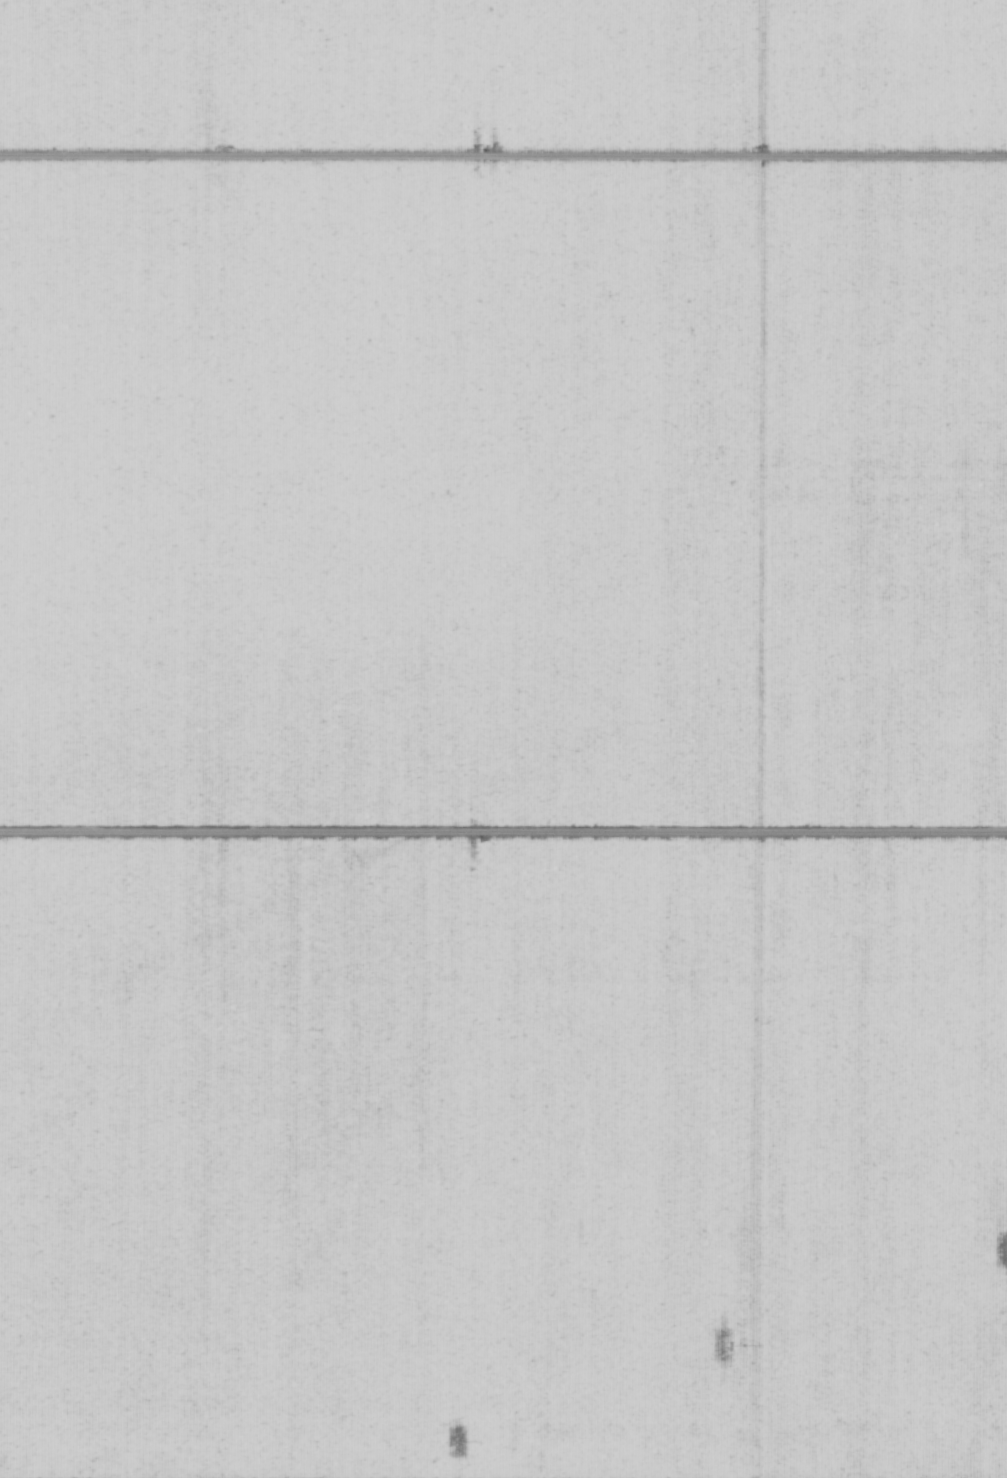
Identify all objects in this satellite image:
crop: (366, 650)
crop: (748, 897)

